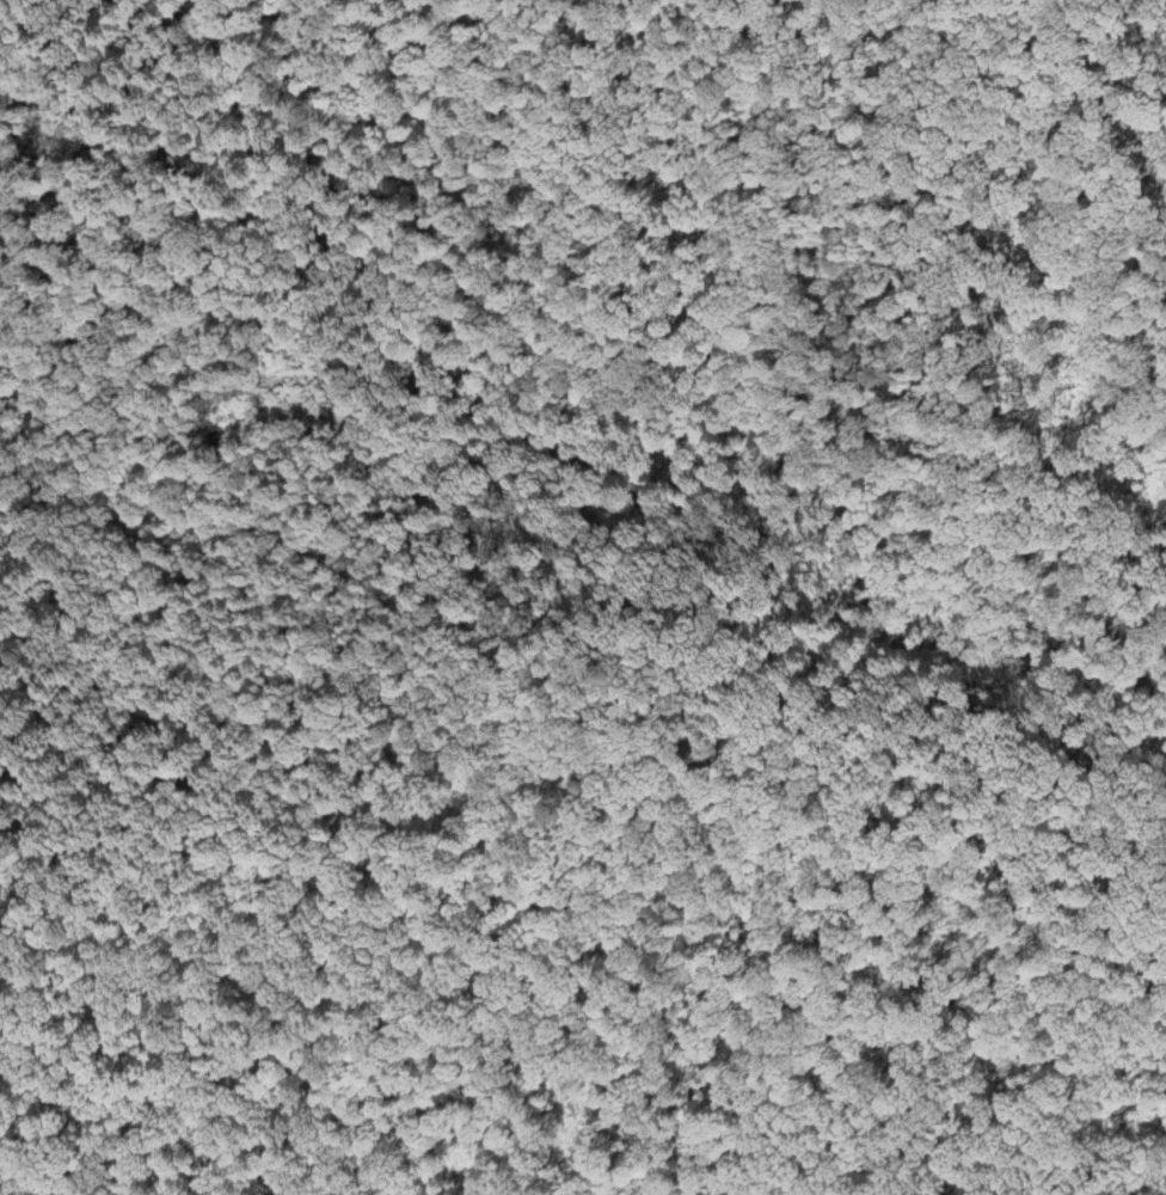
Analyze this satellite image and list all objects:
road: (571, 998)
road: (376, 1162)

